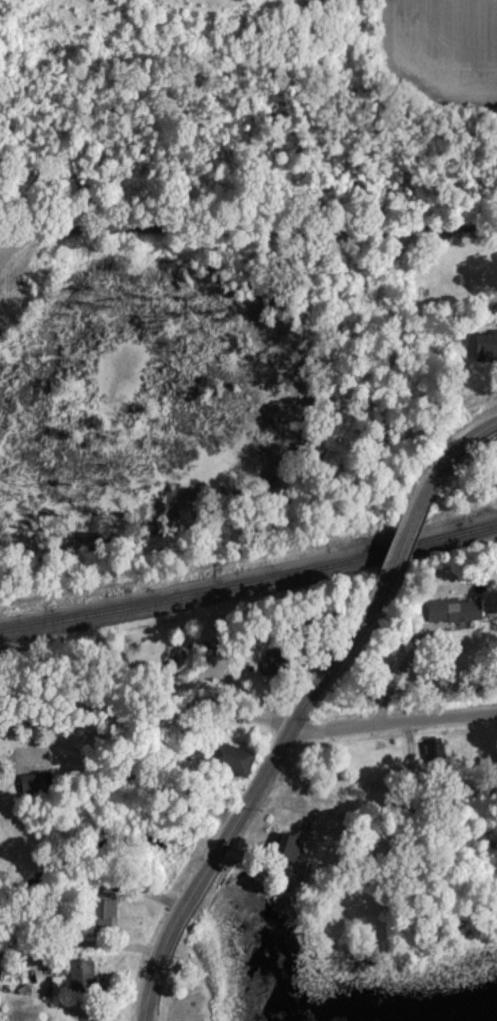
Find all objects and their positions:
road: (248, 227)
building: (485, 345)
road: (449, 457)
road: (397, 545)
railway: (249, 580)
building: (453, 609)
building: (276, 658)
road: (397, 674)
road: (393, 721)
building: (434, 751)
building: (228, 757)
road: (119, 767)
building: (30, 782)
building: (444, 797)
road: (252, 798)
river: (108, 844)
building: (288, 847)
building: (102, 912)
road: (112, 966)
building: (75, 978)

